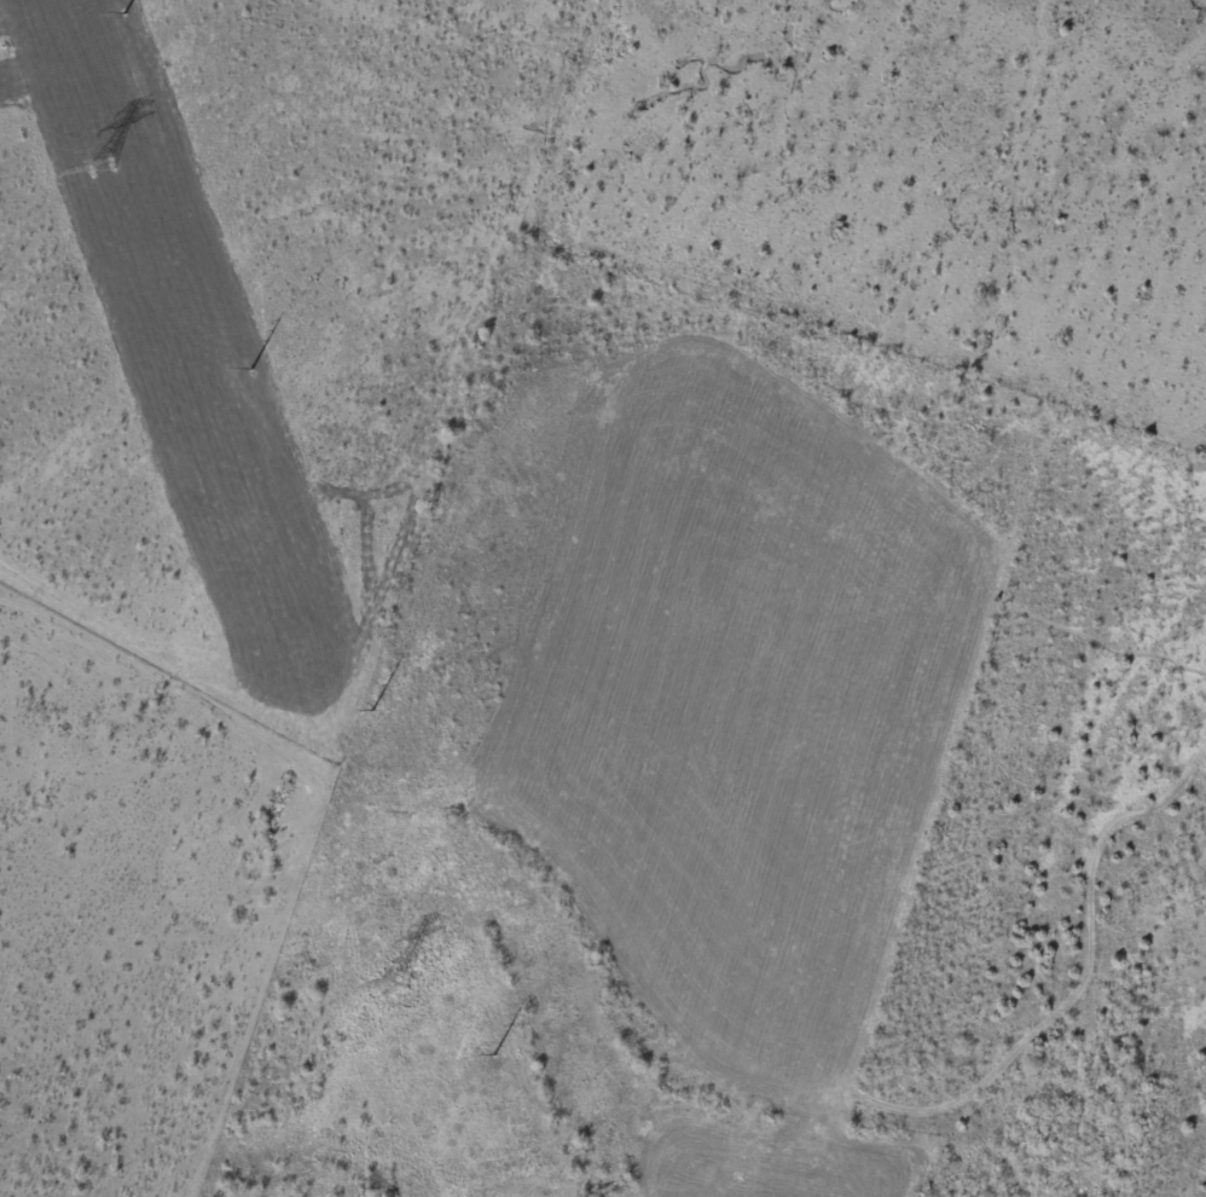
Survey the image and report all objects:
power tower: (102, 169)
power tower: (390, 984)

